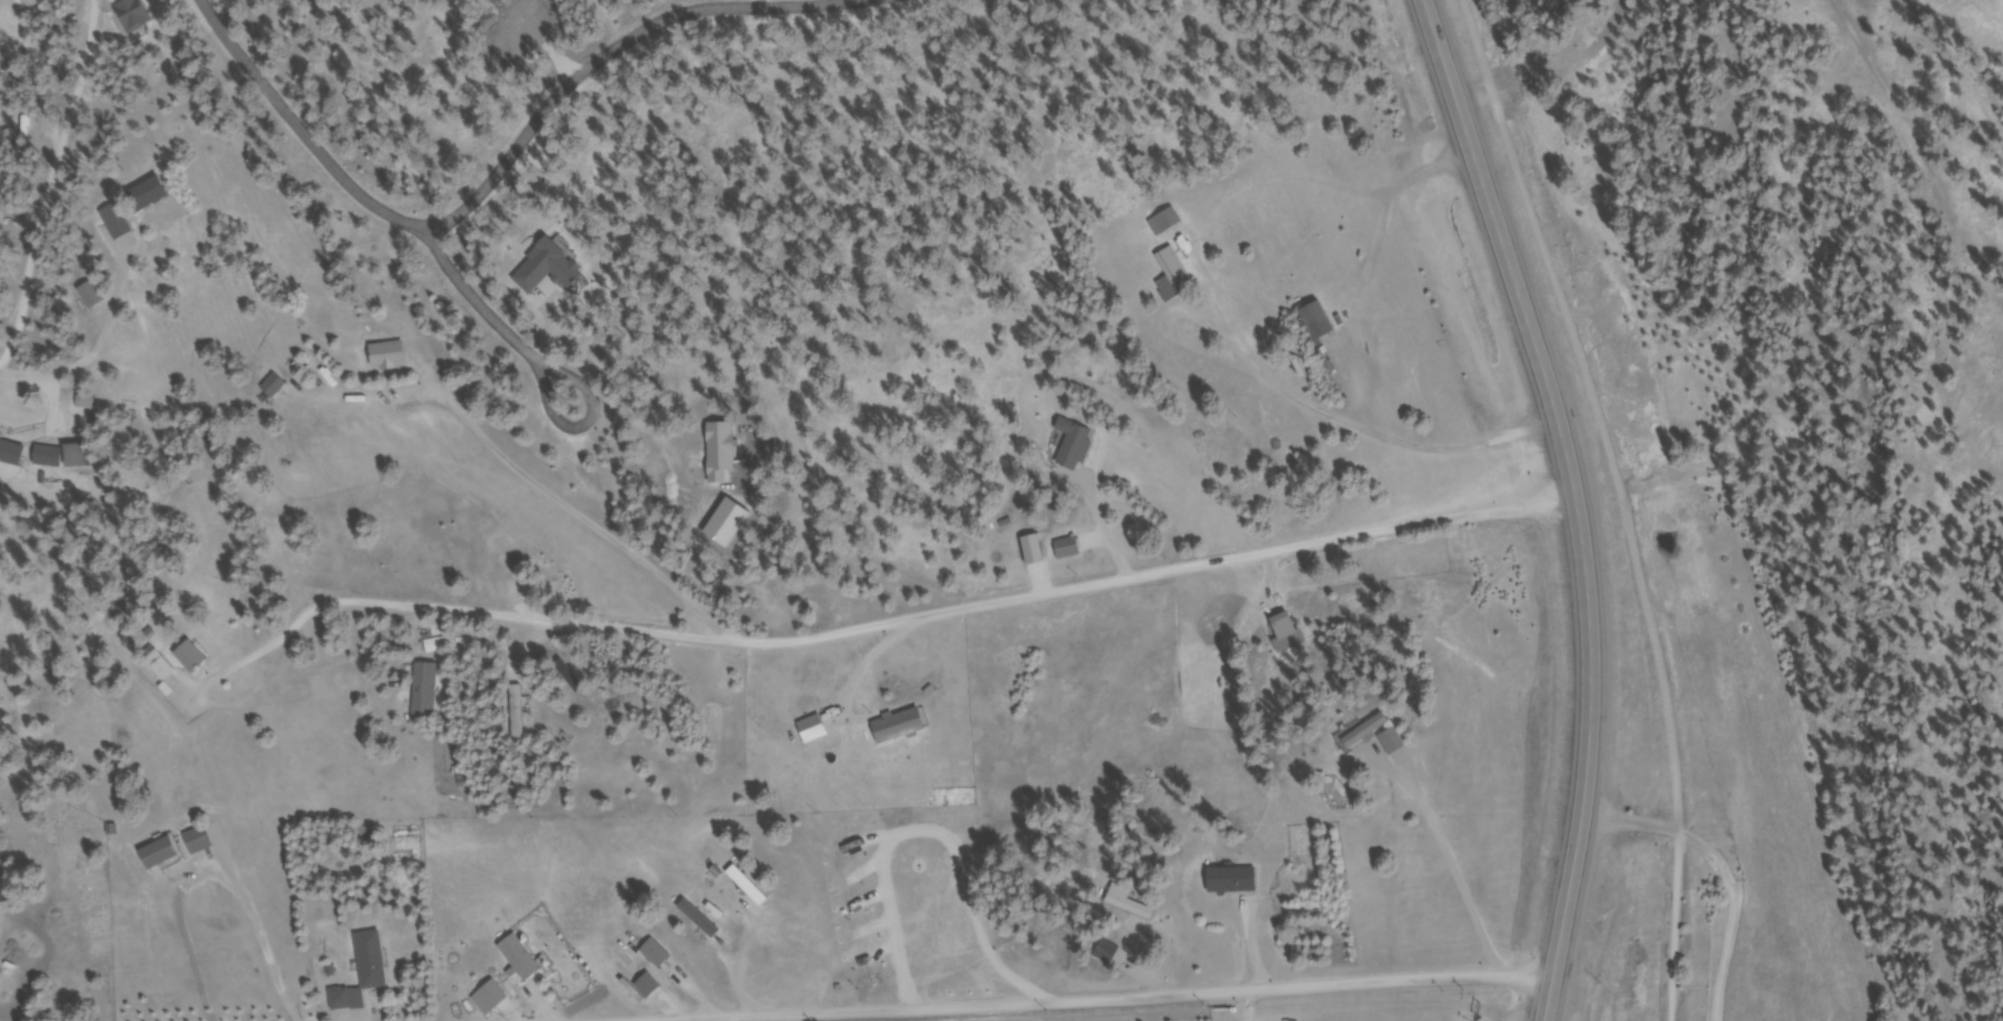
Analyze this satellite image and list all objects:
building: (135, 16)
road: (295, 138)
road: (494, 165)
building: (150, 197)
building: (118, 225)
building: (1167, 225)
building: (1174, 279)
building: (93, 298)
building: (1320, 326)
building: (390, 359)
road: (50, 381)
building: (275, 389)
road: (568, 415)
building: (12, 455)
building: (1073, 456)
building: (79, 458)
building: (49, 459)
road: (1623, 500)
road: (1576, 501)
building: (1069, 551)
building: (1036, 553)
road: (941, 612)
building: (424, 636)
building: (428, 650)
building: (192, 659)
building: (159, 665)
building: (427, 693)
building: (519, 715)
building: (901, 728)
building: (814, 731)
building: (1369, 733)
building: (1396, 744)
building: (206, 840)
building: (162, 855)
building: (725, 859)
road: (4, 865)
road: (1731, 867)
building: (1235, 881)
building: (750, 887)
building: (1131, 904)
building: (1110, 953)
building: (658, 955)
building: (521, 960)
building: (1634, 966)
building: (365, 974)
building: (649, 988)
road: (1064, 995)
building: (491, 999)

